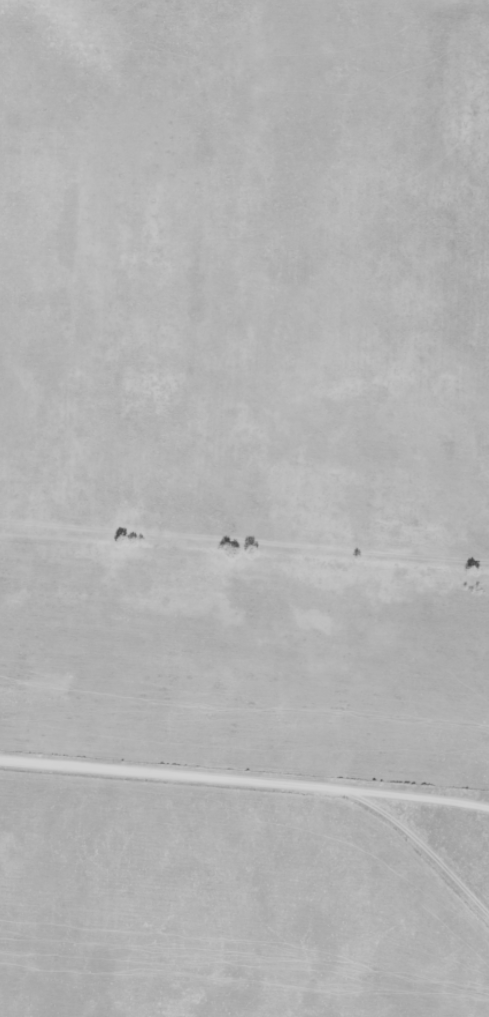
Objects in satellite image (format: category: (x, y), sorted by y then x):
road: (171, 775)
road: (416, 797)
road: (421, 847)

